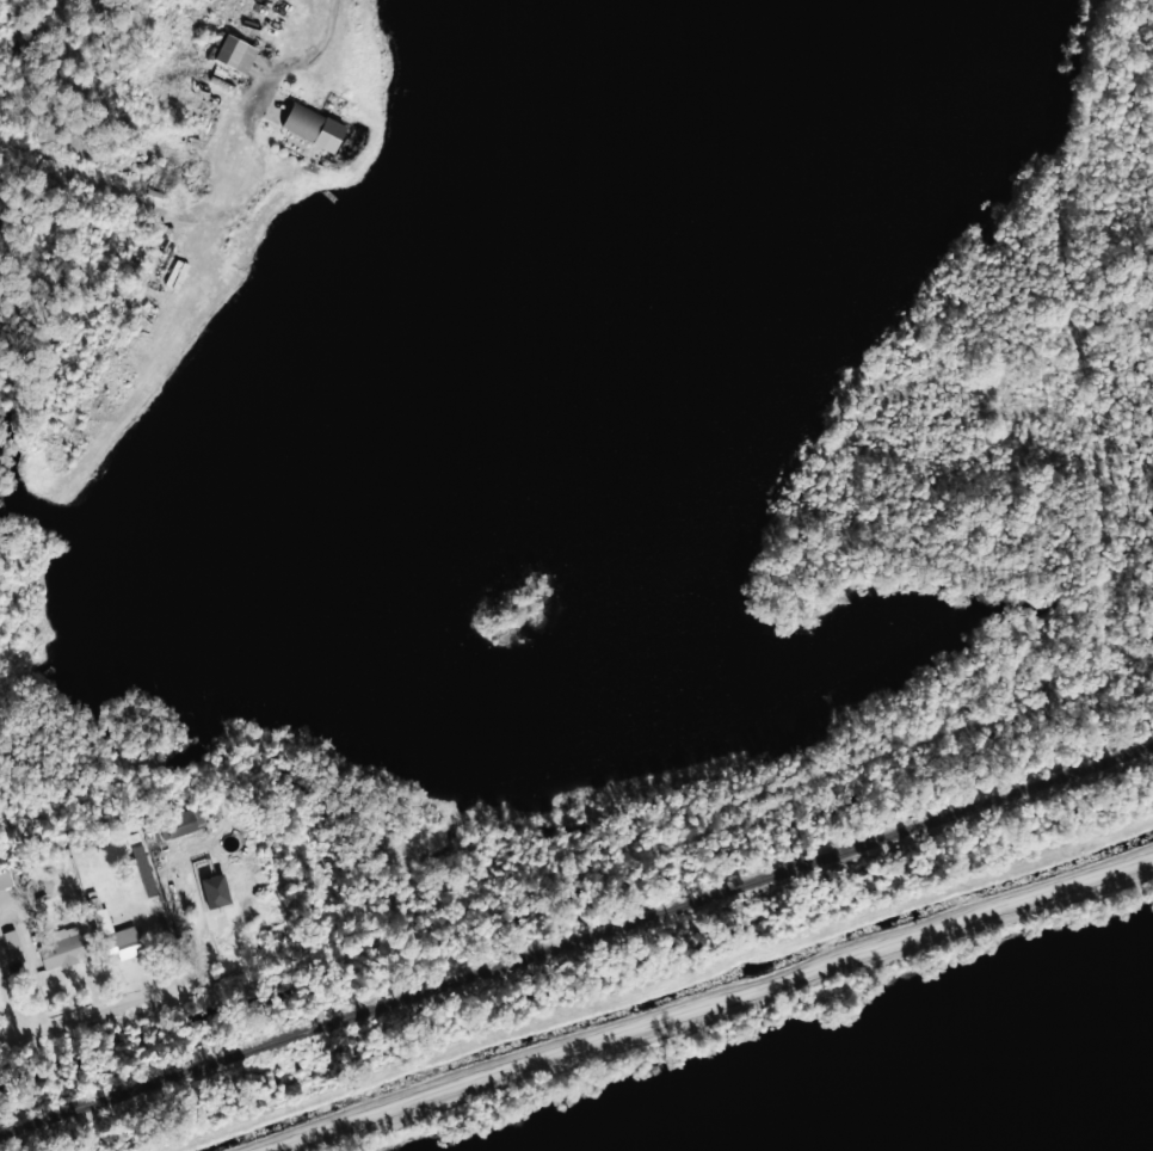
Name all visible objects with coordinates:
building: (234, 54)
building: (313, 127)
road: (88, 171)
building: (181, 823)
building: (143, 870)
road: (516, 872)
building: (226, 881)
building: (113, 934)
building: (10, 938)
railway: (576, 940)
building: (61, 947)

